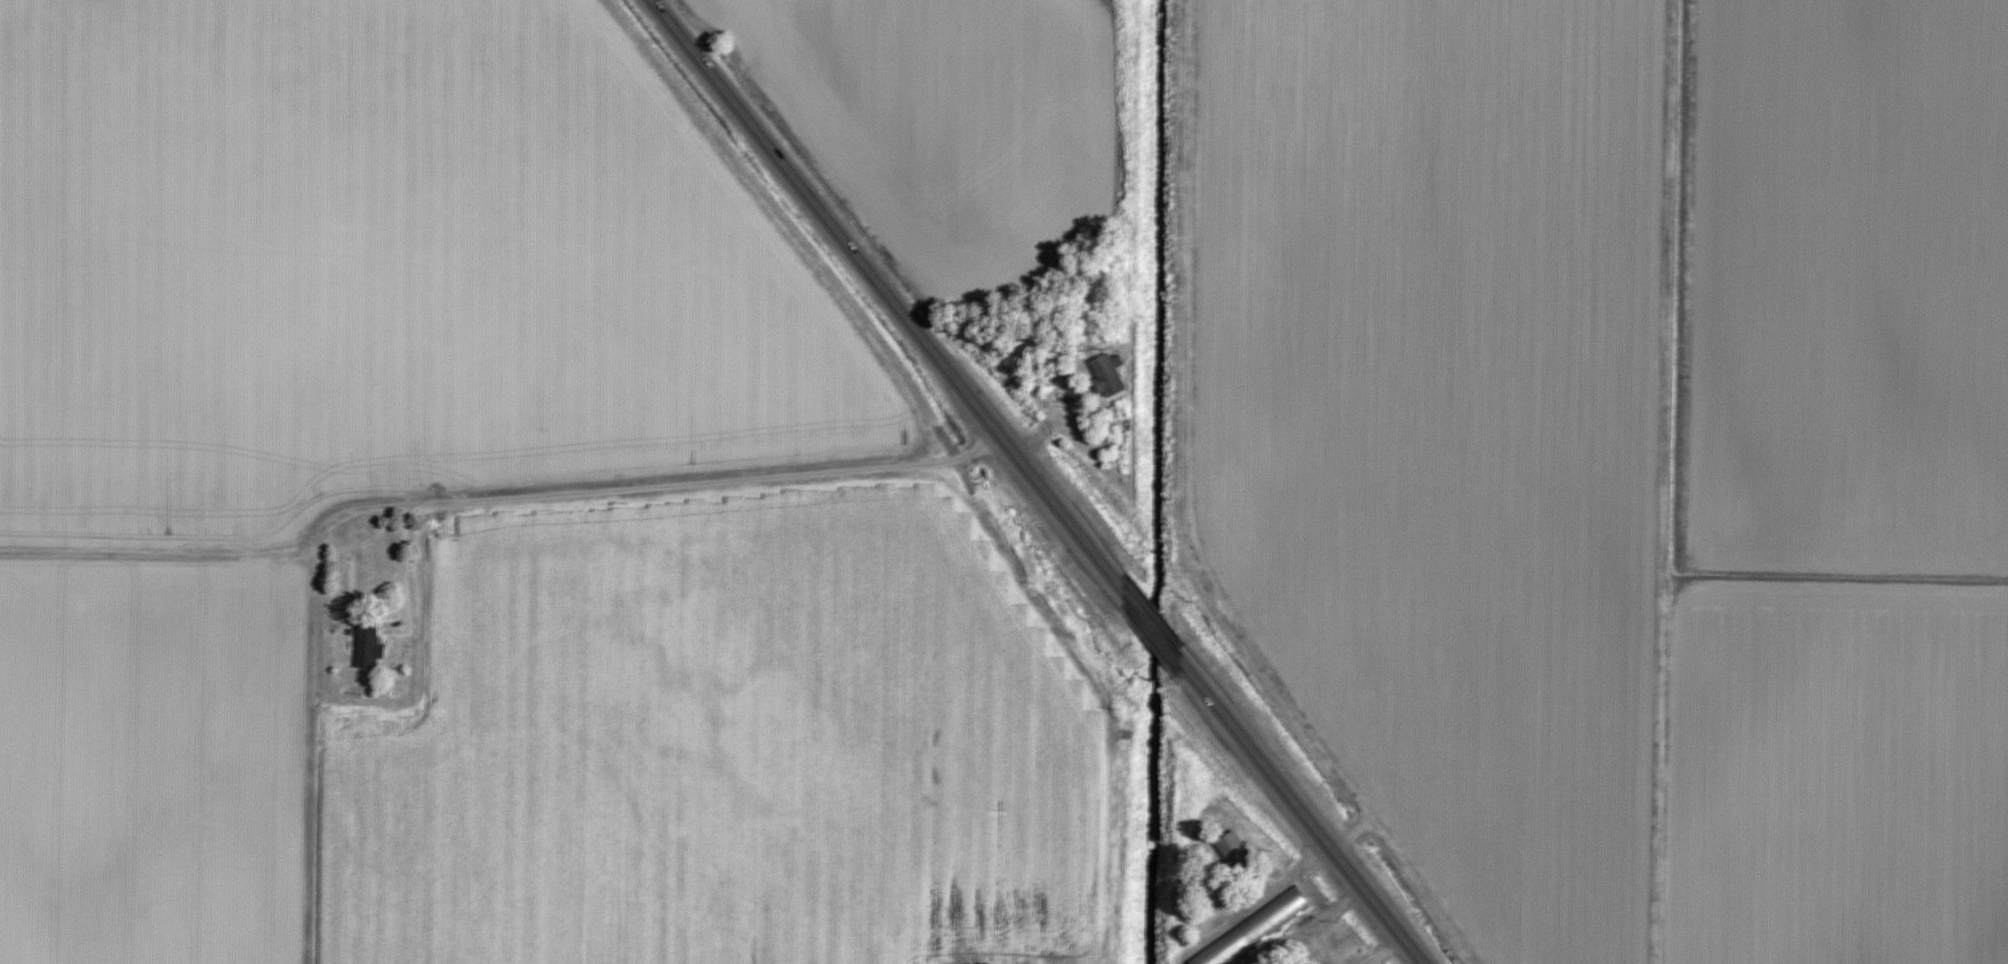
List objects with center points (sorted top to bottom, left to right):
building: (1107, 374)
road: (1073, 418)
road: (1037, 482)
road: (614, 490)
building: (367, 648)
building: (1233, 851)
building: (1250, 929)

